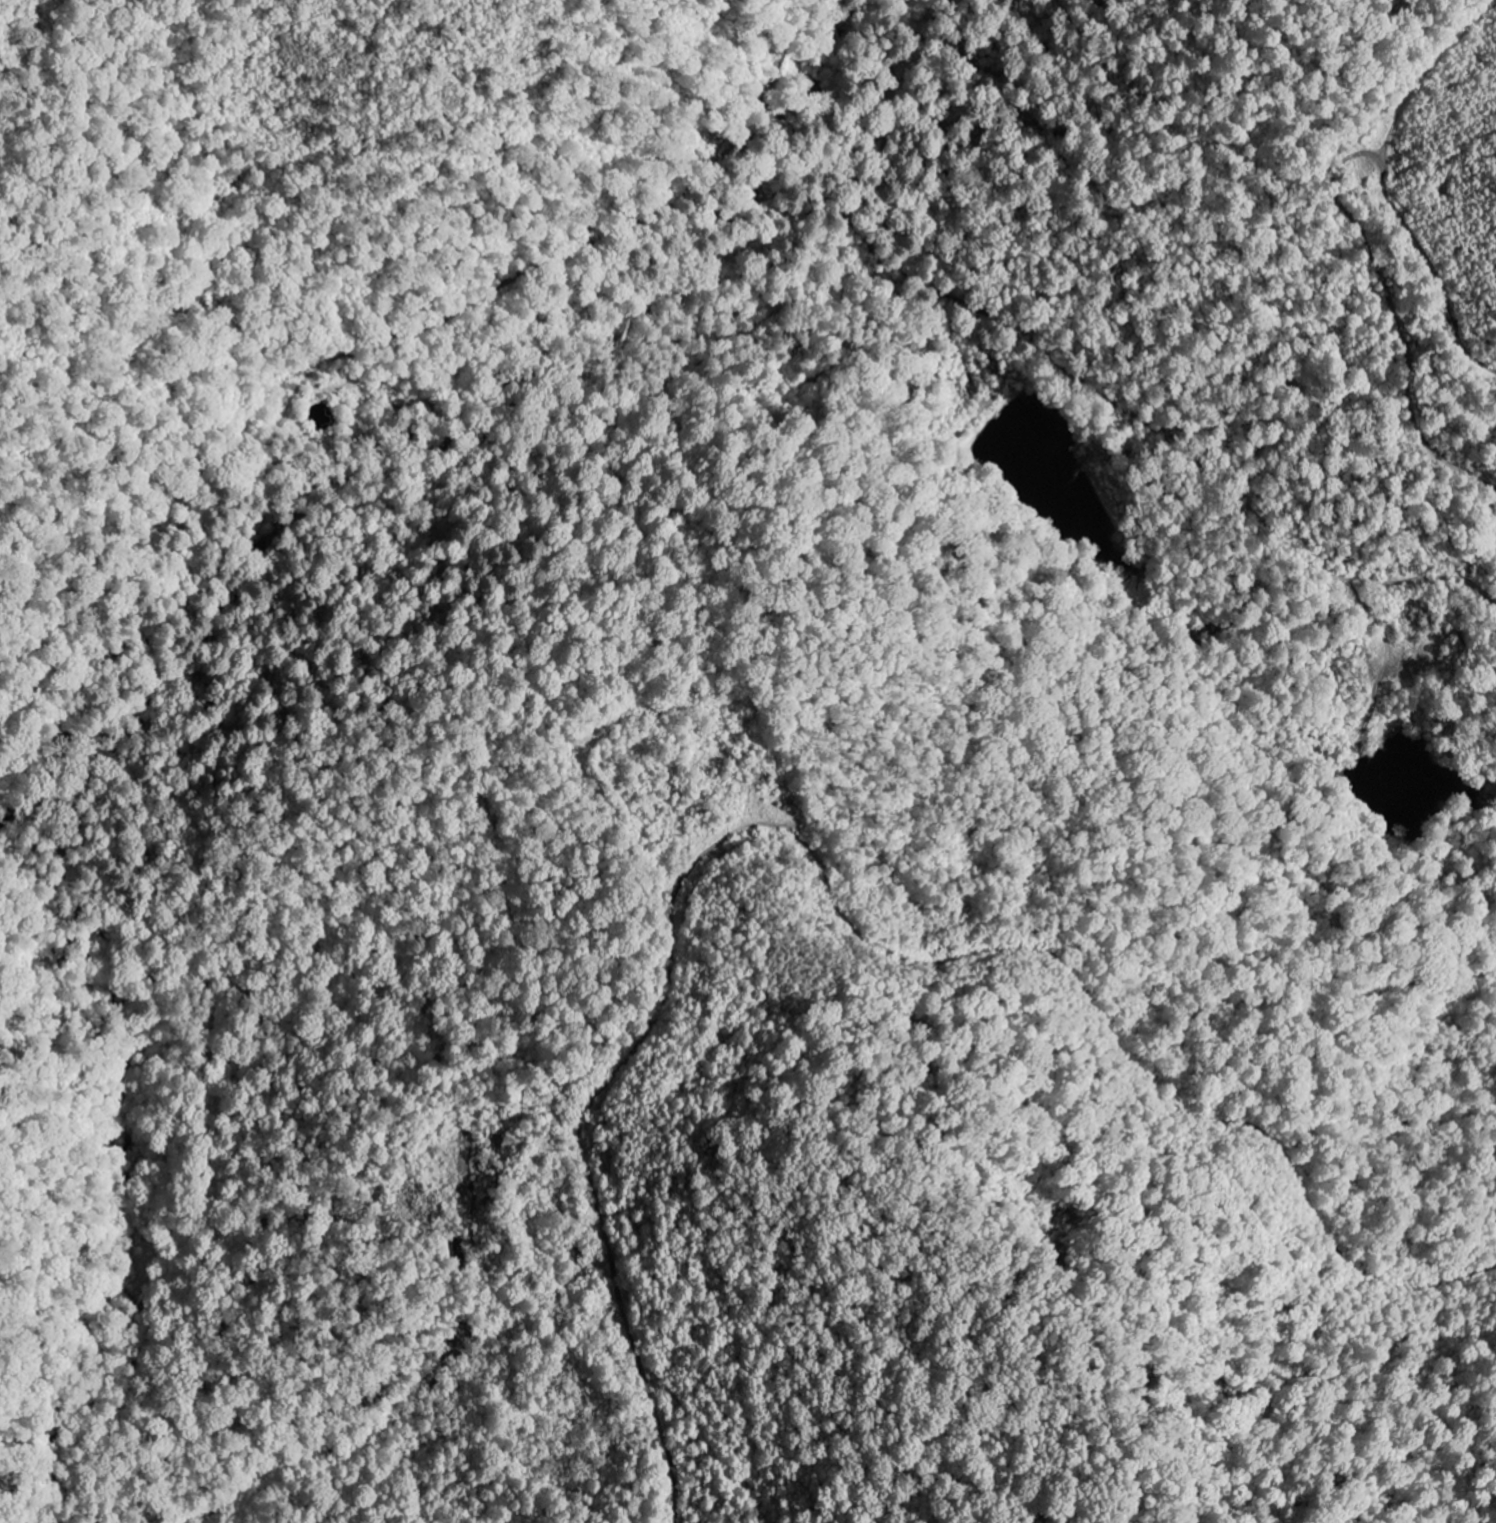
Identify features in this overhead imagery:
road: (469, 329)
road: (1005, 380)
road: (59, 1216)

